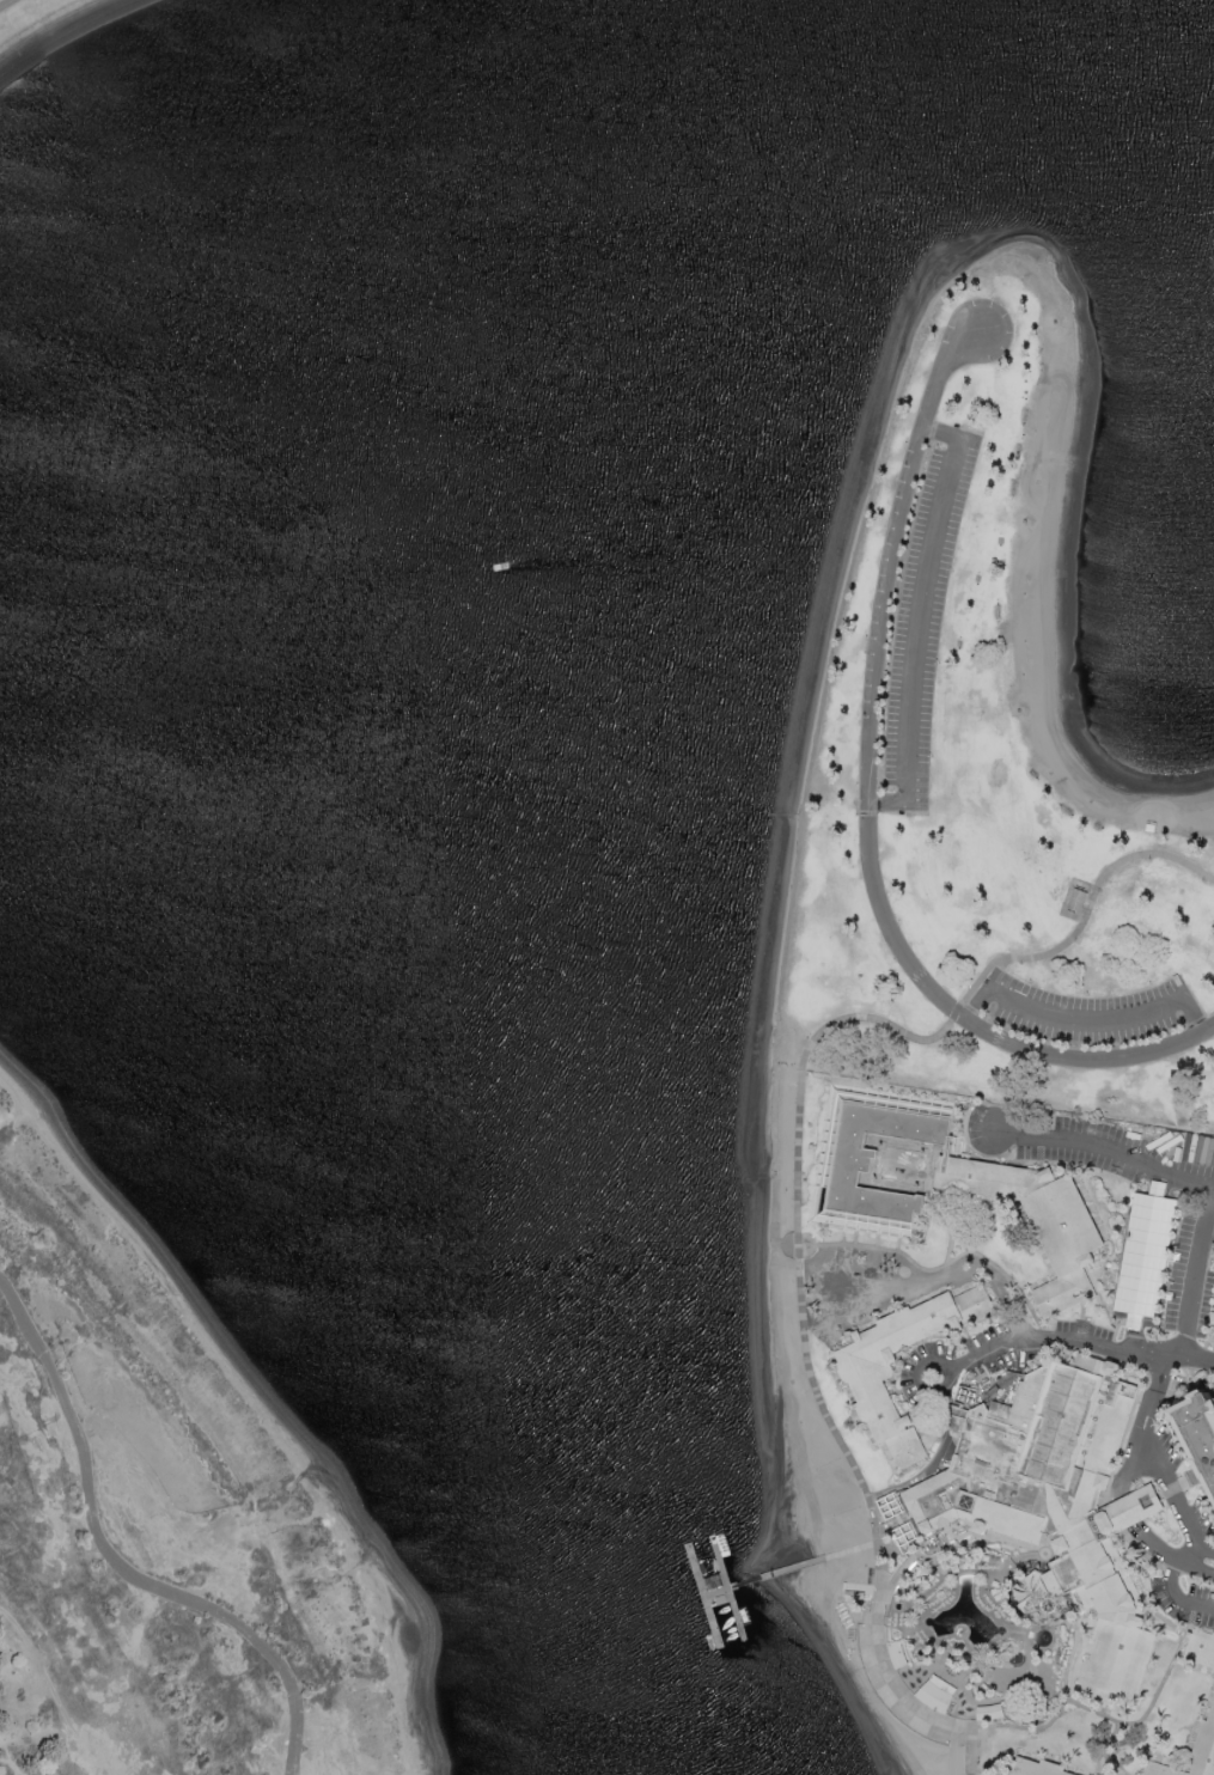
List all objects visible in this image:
road: (4, 2)
park: (18, 11)
parking lot: (927, 617)
road: (923, 620)
park: (992, 762)
road: (871, 809)
building: (1078, 901)
parking lot: (1096, 1015)
road: (1090, 1020)
building: (937, 1179)
road: (1183, 1179)
road: (798, 1182)
road: (952, 1248)
road: (890, 1252)
building: (1146, 1254)
road: (988, 1263)
building: (1213, 1323)
road: (1070, 1343)
building: (867, 1376)
road: (1148, 1405)
building: (1200, 1429)
road: (1157, 1463)
building: (1054, 1494)
building: (1133, 1508)
road: (1125, 1512)
park: (154, 1518)
road: (1203, 1554)
road: (126, 1555)
road: (1169, 1559)
road: (1200, 1569)
pier: (767, 1580)
pier: (731, 1593)
road: (1176, 1596)
pier: (704, 1598)
building: (1200, 1647)
building: (898, 1653)
building: (939, 1692)
building: (990, 1712)
road: (1143, 1718)
road: (1053, 1720)
building: (1209, 1728)
road: (1110, 1749)
road: (1116, 1764)
building: (1035, 1769)

